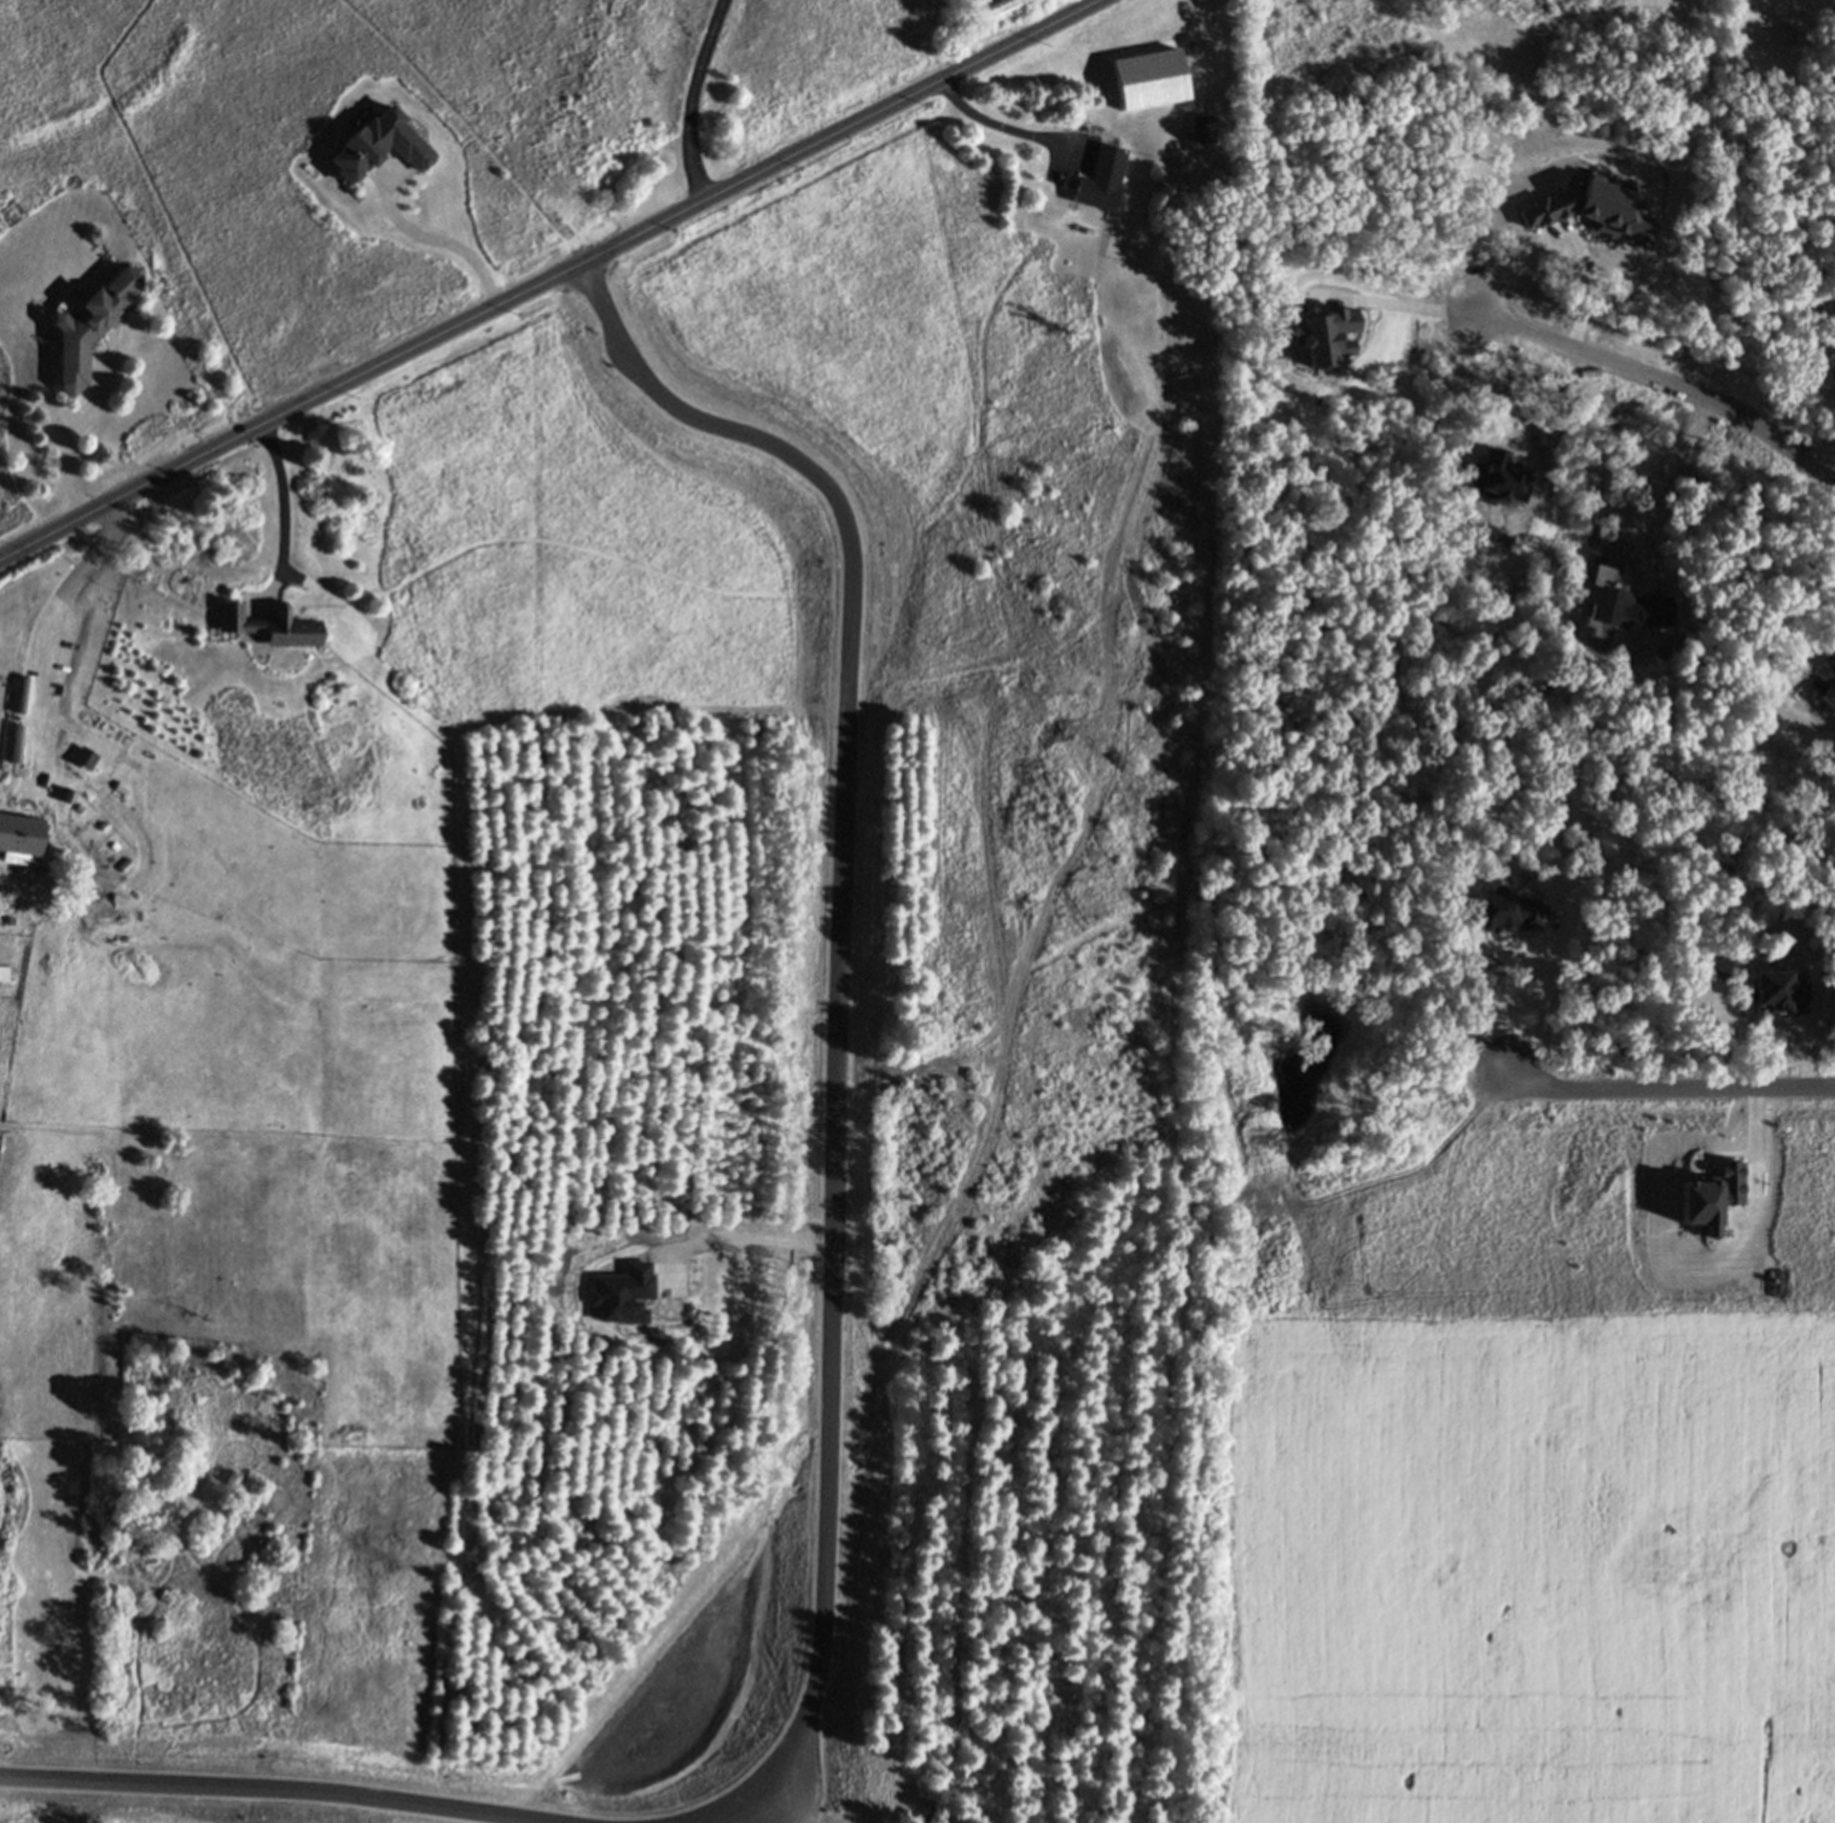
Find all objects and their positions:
road: (694, 98)
road: (997, 123)
building: (1202, 127)
building: (1101, 176)
road: (437, 228)
road: (1563, 239)
road: (549, 279)
road: (1393, 304)
building: (92, 324)
road: (1661, 379)
road: (74, 437)
road: (1654, 487)
road: (281, 507)
building: (270, 624)
road: (47, 625)
building: (1, 693)
building: (21, 832)
road: (1533, 995)
road: (838, 1017)
road: (1670, 1088)
crop: (1515, 1458)
road: (284, 1787)
road: (786, 1807)

